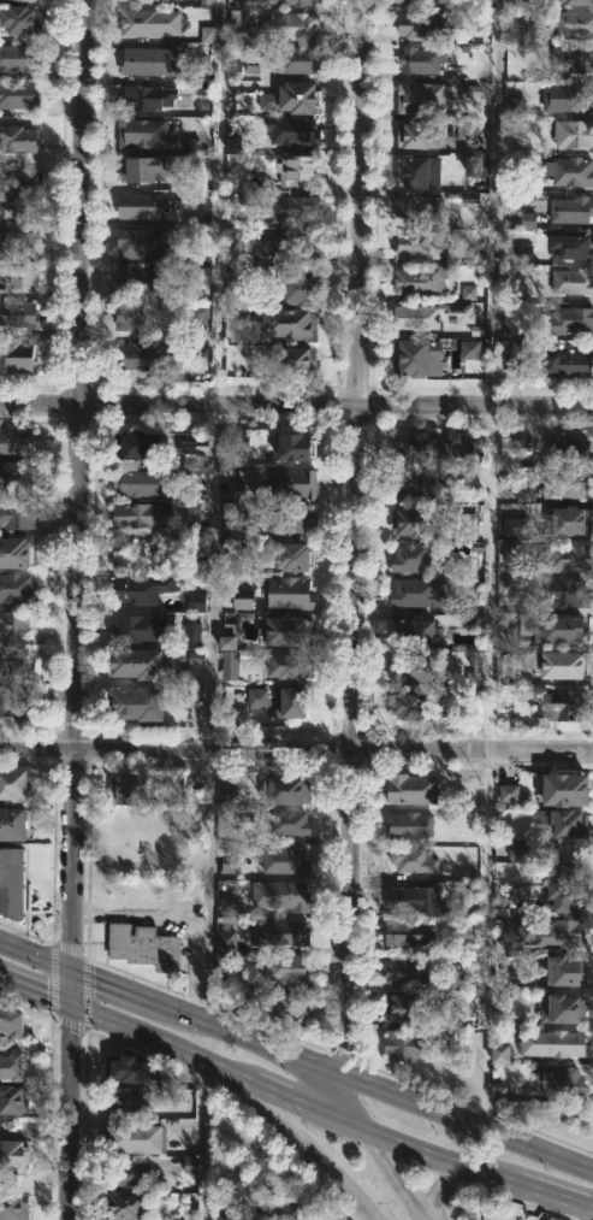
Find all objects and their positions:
building: (23, 0)
building: (439, 0)
building: (148, 1)
building: (204, 1)
building: (296, 1)
building: (577, 2)
building: (413, 4)
building: (20, 19)
building: (155, 23)
building: (573, 23)
building: (238, 24)
building: (427, 24)
building: (290, 26)
building: (207, 35)
building: (19, 58)
building: (571, 59)
building: (143, 60)
building: (296, 60)
building: (421, 60)
building: (203, 88)
building: (17, 94)
building: (149, 98)
building: (422, 98)
building: (573, 98)
building: (291, 99)
building: (292, 131)
building: (141, 132)
building: (573, 132)
building: (417, 135)
building: (18, 140)
building: (190, 145)
building: (232, 146)
building: (475, 166)
building: (141, 169)
building: (295, 170)
building: (419, 171)
building: (570, 171)
building: (20, 187)
road: (493, 201)
building: (141, 206)
building: (293, 208)
building: (421, 208)
building: (571, 210)
building: (526, 220)
building: (18, 234)
building: (142, 243)
building: (290, 243)
building: (420, 244)
building: (571, 248)
building: (521, 253)
building: (19, 273)
building: (200, 275)
building: (142, 279)
building: (421, 281)
building: (573, 281)
building: (300, 288)
building: (468, 293)
building: (201, 311)
building: (19, 314)
building: (131, 317)
building: (416, 317)
building: (568, 322)
building: (285, 323)
building: (469, 349)
building: (16, 358)
building: (148, 358)
building: (416, 359)
building: (511, 359)
building: (296, 360)
building: (569, 364)
road: (81, 375)
road: (357, 375)
road: (296, 402)
building: (16, 442)
building: (233, 442)
building: (136, 447)
building: (185, 447)
building: (419, 447)
building: (292, 448)
building: (510, 450)
building: (568, 450)
building: (473, 452)
building: (191, 476)
building: (19, 479)
building: (506, 482)
building: (138, 483)
building: (414, 483)
building: (295, 484)
building: (568, 485)
building: (233, 490)
building: (524, 494)
road: (213, 511)
building: (18, 515)
building: (140, 515)
building: (293, 521)
building: (571, 521)
building: (411, 525)
building: (465, 526)
building: (515, 528)
building: (238, 529)
building: (196, 530)
building: (511, 550)
building: (17, 552)
building: (135, 556)
building: (562, 556)
building: (413, 558)
building: (290, 559)
building: (232, 562)
road: (487, 576)
building: (17, 589)
building: (142, 591)
building: (290, 594)
building: (416, 594)
building: (564, 595)
building: (196, 602)
building: (242, 603)
building: (13, 625)
building: (562, 630)
building: (137, 631)
building: (286, 632)
building: (414, 633)
building: (191, 635)
building: (227, 643)
building: (195, 656)
building: (523, 660)
building: (16, 661)
building: (229, 665)
building: (503, 665)
building: (140, 666)
building: (289, 666)
building: (567, 667)
building: (413, 668)
building: (474, 668)
building: (256, 699)
building: (16, 701)
building: (290, 702)
building: (136, 706)
building: (411, 708)
building: (562, 708)
road: (296, 749)
building: (14, 785)
building: (128, 788)
building: (287, 788)
building: (411, 788)
building: (565, 791)
building: (508, 792)
building: (226, 796)
building: (289, 821)
building: (410, 823)
building: (563, 823)
building: (12, 826)
building: (516, 850)
building: (284, 857)
building: (409, 859)
building: (230, 864)
building: (11, 883)
building: (565, 888)
building: (286, 895)
building: (414, 898)
building: (500, 903)
building: (226, 906)
building: (283, 932)
building: (410, 932)
building: (555, 932)
road: (348, 936)
road: (486, 939)
building: (226, 941)
building: (143, 945)
building: (285, 968)
traffic signals: (72, 971)
building: (407, 971)
building: (565, 973)
road: (72, 984)
building: (562, 1006)
building: (286, 1008)
road: (172, 1009)
building: (408, 1009)
traffic signals: (72, 1010)
building: (11, 1021)
building: (559, 1043)
building: (407, 1044)
building: (499, 1054)
building: (11, 1066)
building: (128, 1067)
road: (231, 1074)
building: (562, 1082)
building: (12, 1098)
building: (126, 1100)
road: (468, 1125)
building: (135, 1138)
road: (202, 1141)
road: (312, 1149)
building: (16, 1155)
building: (190, 1165)
road: (390, 1169)
building: (126, 1173)
road: (437, 1186)
road: (528, 1189)
road: (337, 1198)
building: (13, 1206)
building: (126, 1207)
building: (283, 1210)
building: (225, 1214)
building: (248, 1215)

